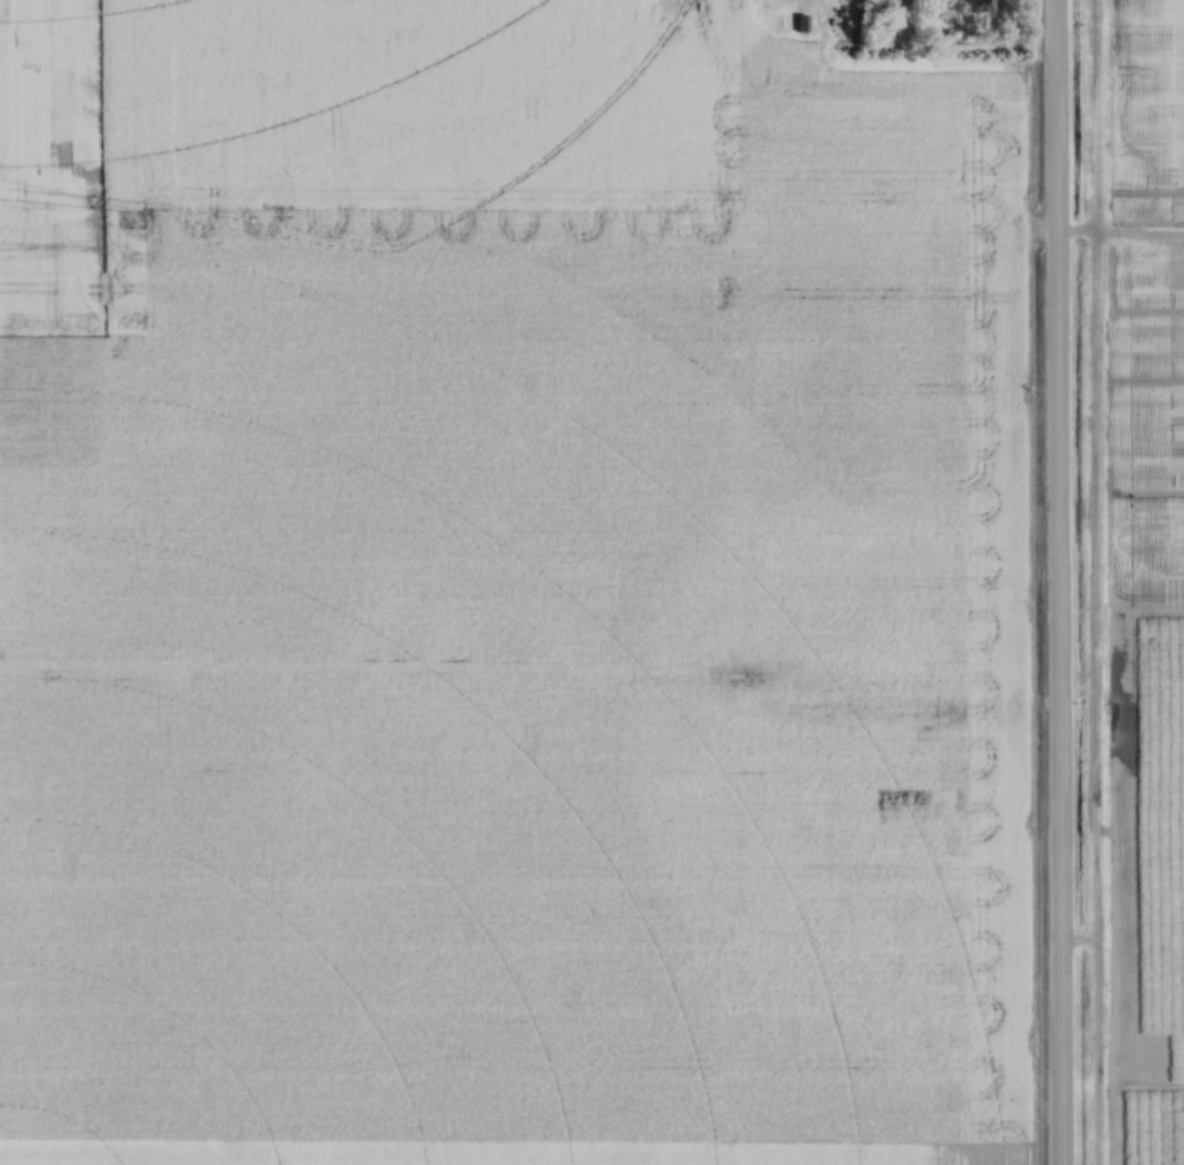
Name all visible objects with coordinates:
building: (980, 7)
road: (1055, 582)

